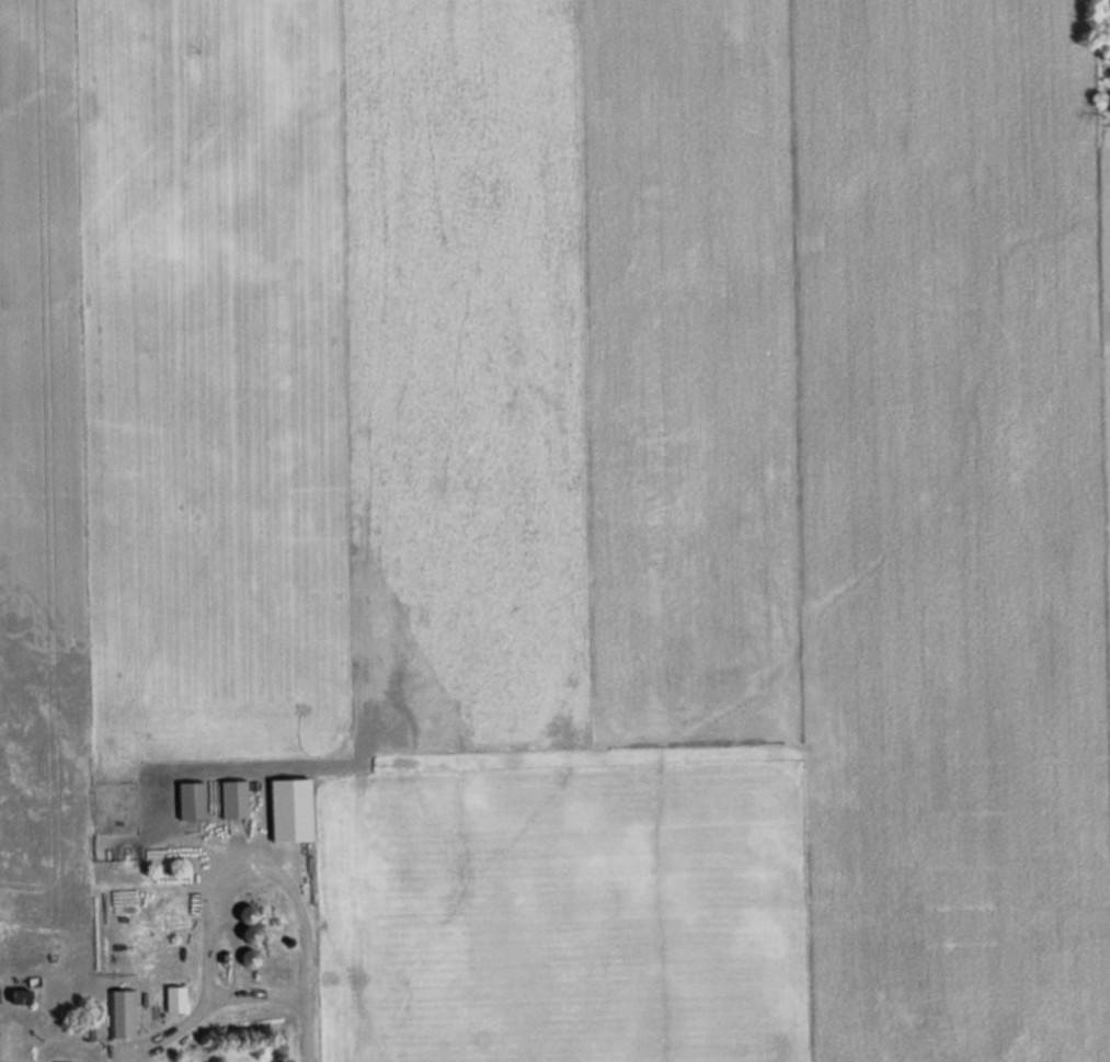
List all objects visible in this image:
building: (191, 799)
building: (250, 958)
building: (21, 996)
building: (175, 998)
building: (122, 1013)

